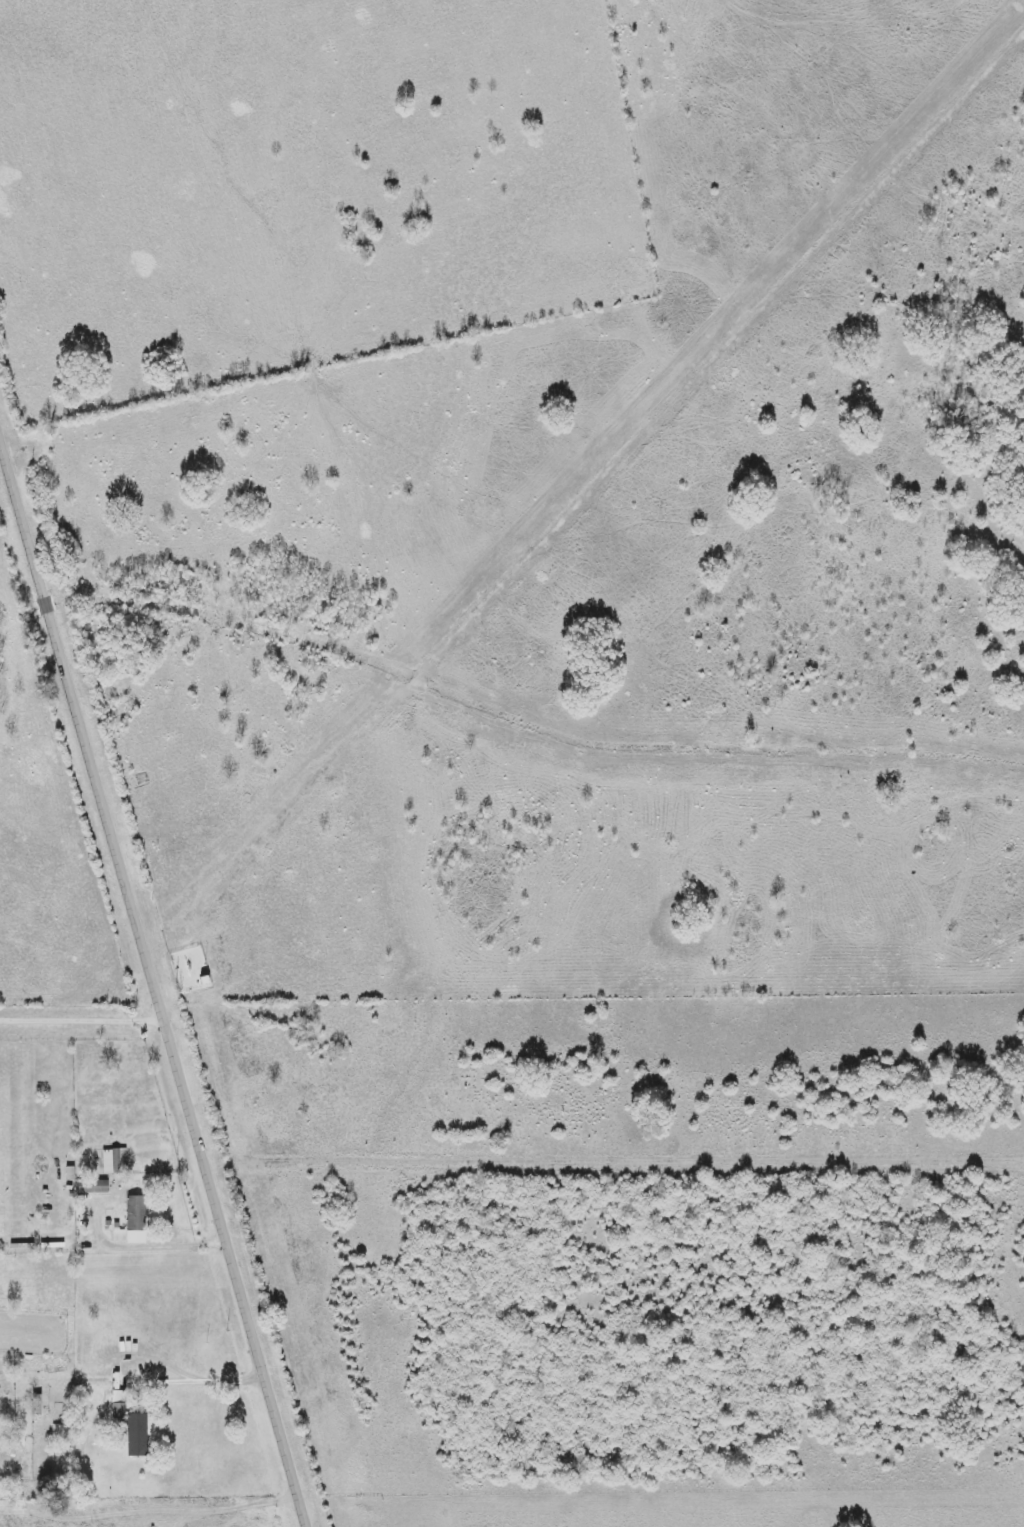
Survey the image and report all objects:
road: (319, 637)
road: (153, 983)
road: (81, 1014)
building: (102, 1156)
building: (84, 1181)
building: (99, 1186)
building: (125, 1208)
building: (134, 1220)
road: (160, 1239)
building: (44, 1241)
building: (13, 1242)
road: (191, 1376)
building: (26, 1402)
building: (120, 1418)

